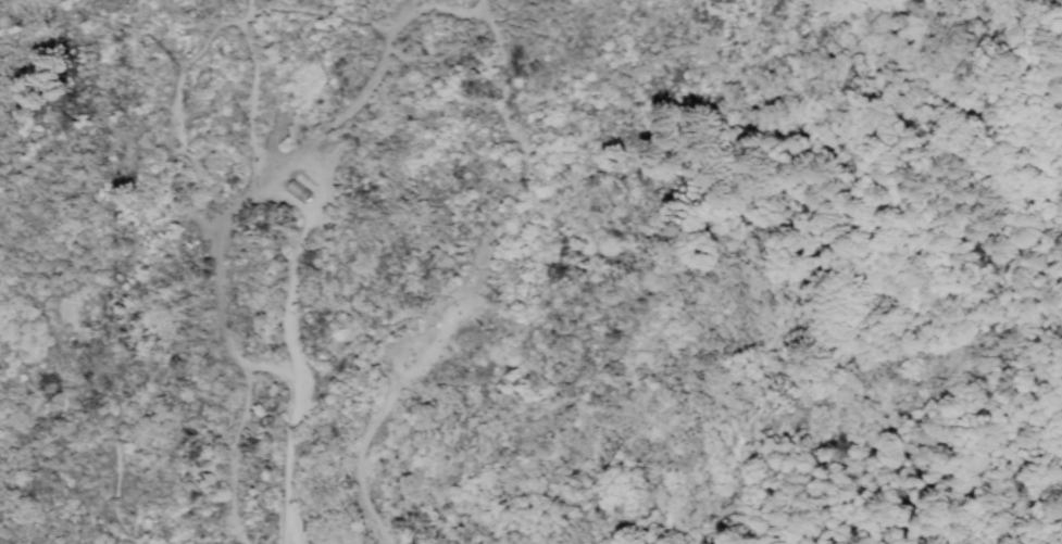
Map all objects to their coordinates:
road: (308, 147)
road: (297, 264)
road: (250, 367)

